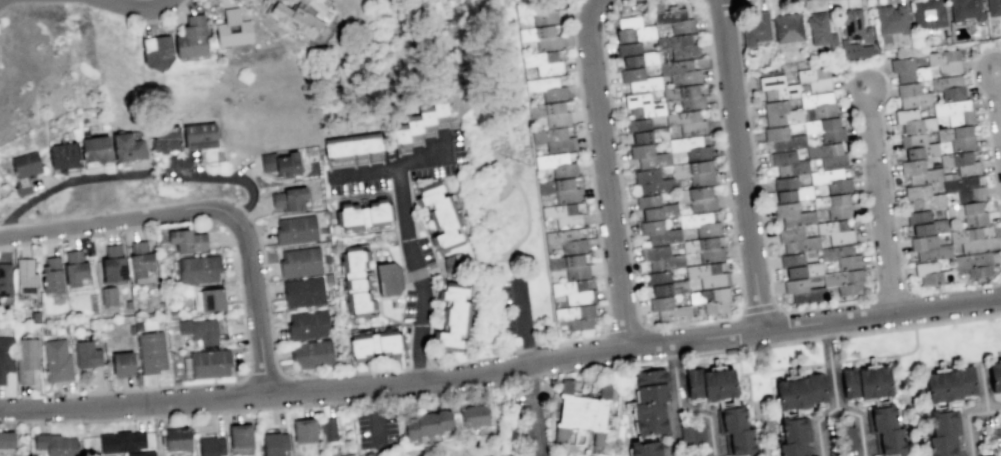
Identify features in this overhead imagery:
road: (733, 0)
road: (226, 2)
building: (657, 5)
road: (142, 7)
building: (993, 7)
building: (965, 10)
building: (537, 12)
road: (165, 13)
building: (927, 14)
building: (301, 16)
building: (892, 18)
building: (675, 21)
building: (787, 27)
building: (232, 29)
building: (755, 29)
building: (633, 30)
building: (820, 30)
road: (493, 34)
building: (855, 34)
building: (191, 37)
building: (541, 37)
building: (678, 46)
building: (157, 51)
building: (635, 55)
building: (944, 61)
building: (543, 63)
building: (907, 69)
building: (680, 72)
road: (498, 76)
building: (815, 78)
building: (639, 80)
building: (948, 86)
building: (777, 87)
building: (546, 89)
building: (912, 95)
building: (685, 97)
road: (997, 102)
building: (818, 104)
building: (643, 105)
building: (440, 109)
building: (955, 110)
building: (550, 113)
building: (780, 113)
building: (426, 119)
building: (913, 121)
building: (687, 122)
road: (987, 126)
building: (414, 128)
building: (825, 128)
building: (645, 130)
building: (198, 131)
building: (164, 133)
building: (401, 136)
building: (956, 137)
building: (783, 138)
building: (554, 139)
parking lot: (455, 143)
building: (917, 145)
building: (351, 146)
building: (127, 147)
building: (690, 147)
building: (95, 148)
building: (827, 154)
building: (64, 155)
building: (648, 156)
building: (280, 159)
building: (960, 162)
building: (787, 163)
building: (26, 164)
road: (739, 164)
building: (556, 165)
road: (365, 168)
road: (606, 171)
building: (919, 171)
road: (172, 172)
building: (695, 172)
road: (231, 176)
building: (831, 179)
road: (64, 181)
building: (652, 182)
parking lot: (357, 184)
building: (964, 188)
building: (790, 189)
building: (560, 190)
building: (288, 194)
building: (922, 197)
road: (231, 199)
road: (593, 200)
building: (701, 200)
road: (880, 200)
road: (206, 205)
building: (834, 205)
building: (440, 207)
park: (508, 207)
building: (654, 207)
road: (866, 207)
road: (241, 208)
building: (362, 209)
road: (528, 212)
road: (539, 213)
building: (967, 213)
building: (793, 214)
building: (562, 215)
building: (925, 223)
building: (700, 224)
building: (295, 226)
building: (658, 232)
building: (836, 232)
building: (970, 237)
building: (186, 240)
building: (796, 240)
building: (566, 241)
building: (928, 247)
road: (409, 249)
building: (704, 249)
parking lot: (425, 250)
building: (840, 256)
building: (660, 257)
building: (299, 258)
building: (140, 259)
road: (513, 260)
building: (974, 263)
building: (113, 264)
building: (799, 265)
building: (570, 266)
building: (75, 267)
building: (198, 270)
building: (51, 274)
building: (932, 274)
building: (707, 275)
building: (26, 276)
building: (358, 276)
road: (239, 278)
building: (389, 278)
building: (5, 279)
building: (845, 280)
road: (998, 282)
building: (664, 283)
building: (803, 291)
building: (303, 292)
building: (573, 292)
road: (892, 294)
building: (107, 296)
building: (212, 299)
building: (710, 299)
parking lot: (407, 302)
building: (127, 304)
road: (758, 307)
road: (913, 308)
parking lot: (516, 309)
building: (668, 309)
road: (881, 314)
building: (34, 315)
road: (522, 316)
building: (574, 316)
building: (453, 317)
building: (307, 321)
road: (918, 323)
building: (137, 325)
road: (683, 326)
building: (130, 329)
building: (199, 330)
building: (45, 331)
road: (629, 332)
road: (826, 334)
road: (694, 335)
building: (373, 338)
road: (750, 345)
road: (526, 347)
road: (671, 347)
road: (592, 350)
building: (152, 351)
building: (311, 351)
road: (995, 351)
building: (87, 354)
road: (678, 355)
building: (6, 356)
road: (668, 356)
building: (26, 358)
building: (57, 360)
road: (672, 360)
building: (122, 363)
building: (209, 363)
road: (831, 363)
road: (435, 364)
road: (601, 365)
road: (799, 366)
building: (994, 374)
road: (287, 376)
road: (530, 376)
road: (263, 377)
building: (967, 379)
building: (874, 382)
road: (900, 382)
building: (850, 383)
building: (710, 384)
building: (943, 384)
building: (651, 385)
road: (675, 385)
building: (816, 388)
road: (983, 388)
road: (278, 390)
road: (453, 392)
building: (792, 393)
road: (749, 394)
road: (375, 399)
road: (533, 407)
building: (583, 411)
road: (184, 413)
road: (376, 415)
building: (473, 415)
building: (649, 417)
road: (967, 417)
building: (730, 418)
building: (880, 418)
building: (445, 419)
road: (709, 419)
road: (493, 420)
building: (943, 421)
building: (427, 423)
road: (859, 424)
road: (817, 426)
building: (329, 429)
building: (411, 429)
building: (792, 429)
building: (304, 430)
road: (673, 430)
building: (693, 434)
building: (240, 435)
road: (398, 435)
building: (177, 438)
building: (848, 438)
building: (7, 440)
building: (889, 440)
road: (452, 441)
building: (739, 441)
building: (122, 442)
building: (274, 443)
building: (55, 444)
building: (942, 445)
building: (211, 446)
building: (645, 448)
building: (790, 448)
building: (142, 454)
building: (997, 454)
building: (349, 455)
building: (986, 455)

